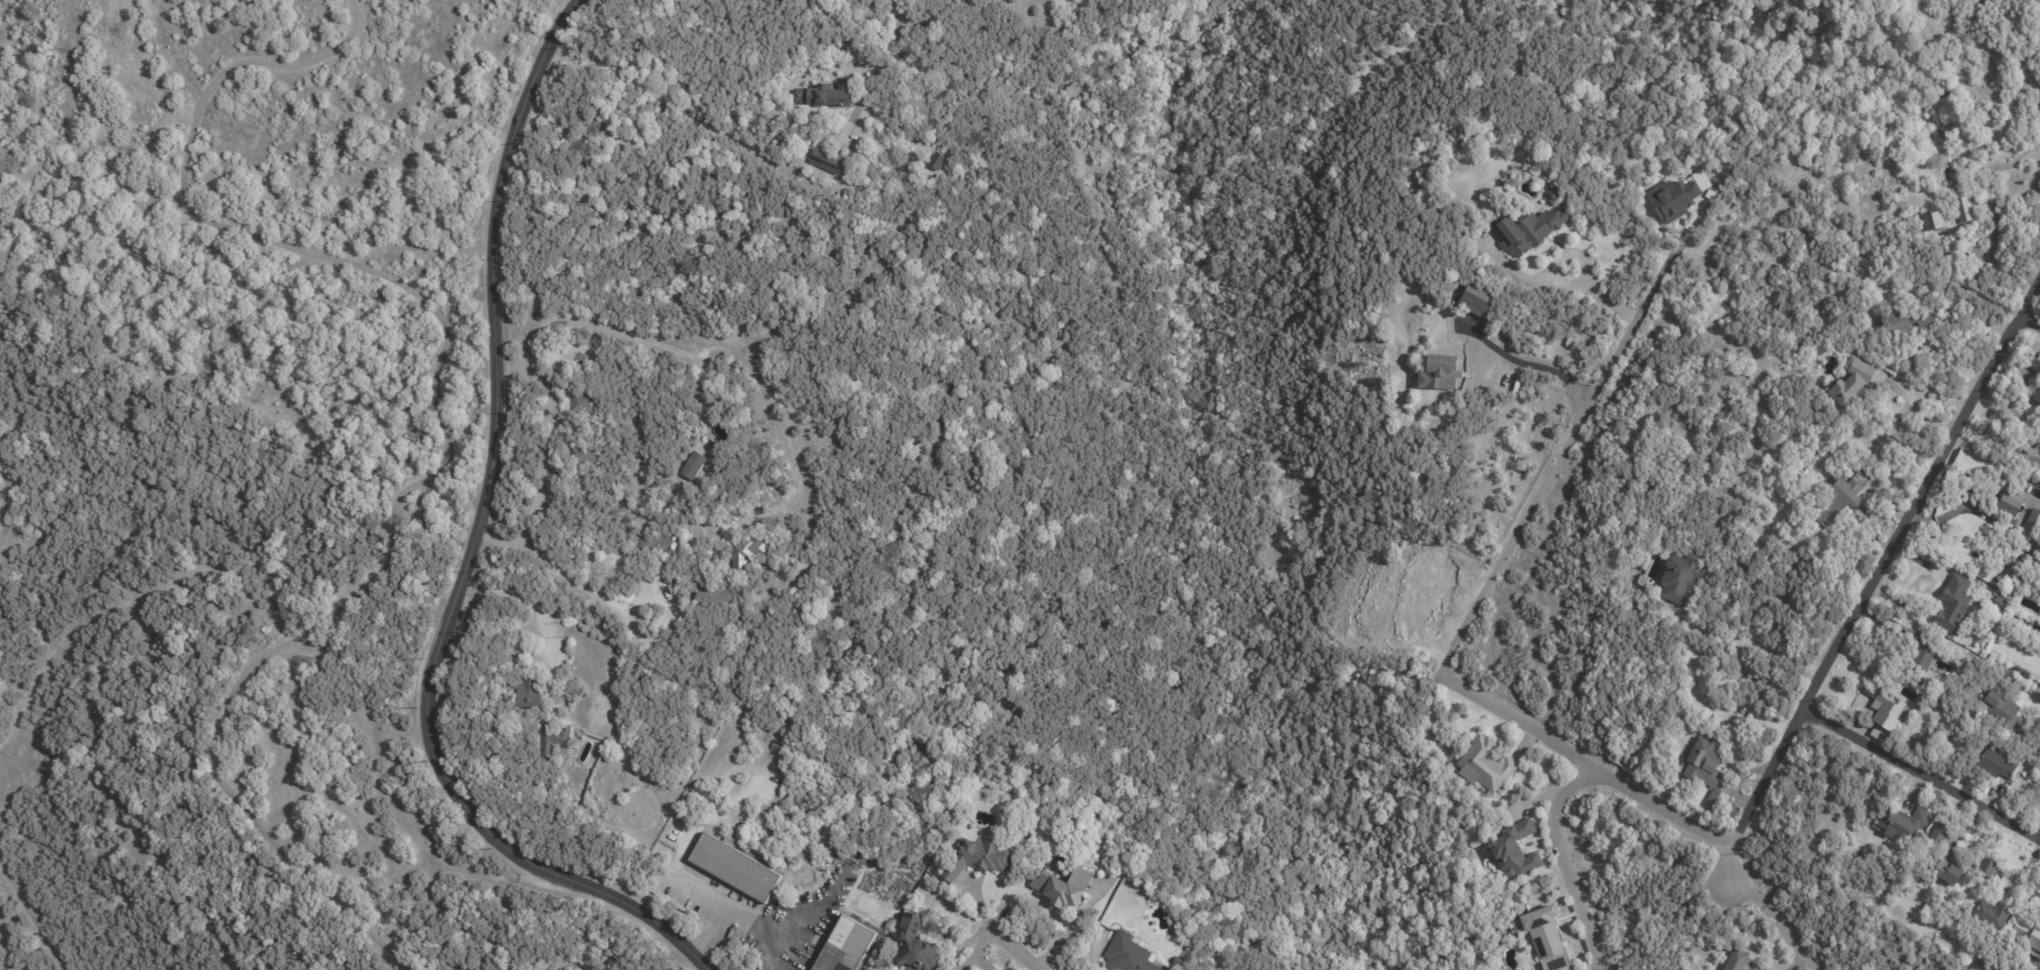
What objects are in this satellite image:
road: (569, 9)
road: (882, 53)
building: (825, 95)
building: (935, 161)
building: (827, 162)
building: (1553, 192)
building: (1669, 201)
road: (1993, 211)
building: (1950, 214)
building: (1524, 229)
building: (1978, 273)
road: (1561, 284)
building: (1904, 318)
road: (2029, 323)
road: (614, 332)
building: (1508, 340)
road: (1520, 363)
building: (1436, 371)
building: (1848, 380)
building: (2016, 384)
building: (2036, 394)
building: (587, 403)
road: (1917, 412)
road: (1896, 434)
road: (548, 436)
building: (587, 456)
building: (2031, 457)
building: (694, 466)
building: (2006, 501)
building: (1835, 502)
building: (2031, 526)
building: (706, 531)
road: (500, 542)
building: (661, 544)
building: (2032, 548)
building: (747, 555)
road: (467, 556)
building: (1679, 579)
road: (1872, 579)
road: (584, 590)
road: (513, 593)
building: (718, 595)
building: (2018, 603)
building: (1998, 604)
road: (1474, 605)
building: (1952, 608)
building: (1974, 608)
road: (1745, 626)
road: (1752, 643)
building: (1922, 650)
building: (528, 694)
building: (1884, 707)
building: (1999, 709)
building: (1877, 733)
building: (554, 740)
building: (1482, 765)
building: (1997, 765)
road: (1921, 771)
building: (1706, 777)
building: (1067, 814)
building: (1903, 824)
building: (1936, 833)
road: (2039, 838)
building: (1512, 849)
building: (980, 859)
road: (1560, 861)
building: (737, 867)
building: (1984, 868)
building: (1946, 872)
building: (1886, 882)
building: (1066, 886)
road: (702, 892)
road: (726, 908)
building: (1992, 913)
road: (1772, 916)
building: (2025, 935)
building: (1546, 937)
building: (848, 946)
building: (917, 946)
road: (1013, 949)
building: (1130, 954)
building: (1737, 960)
building: (1979, 964)
building: (972, 969)
building: (975, 969)

